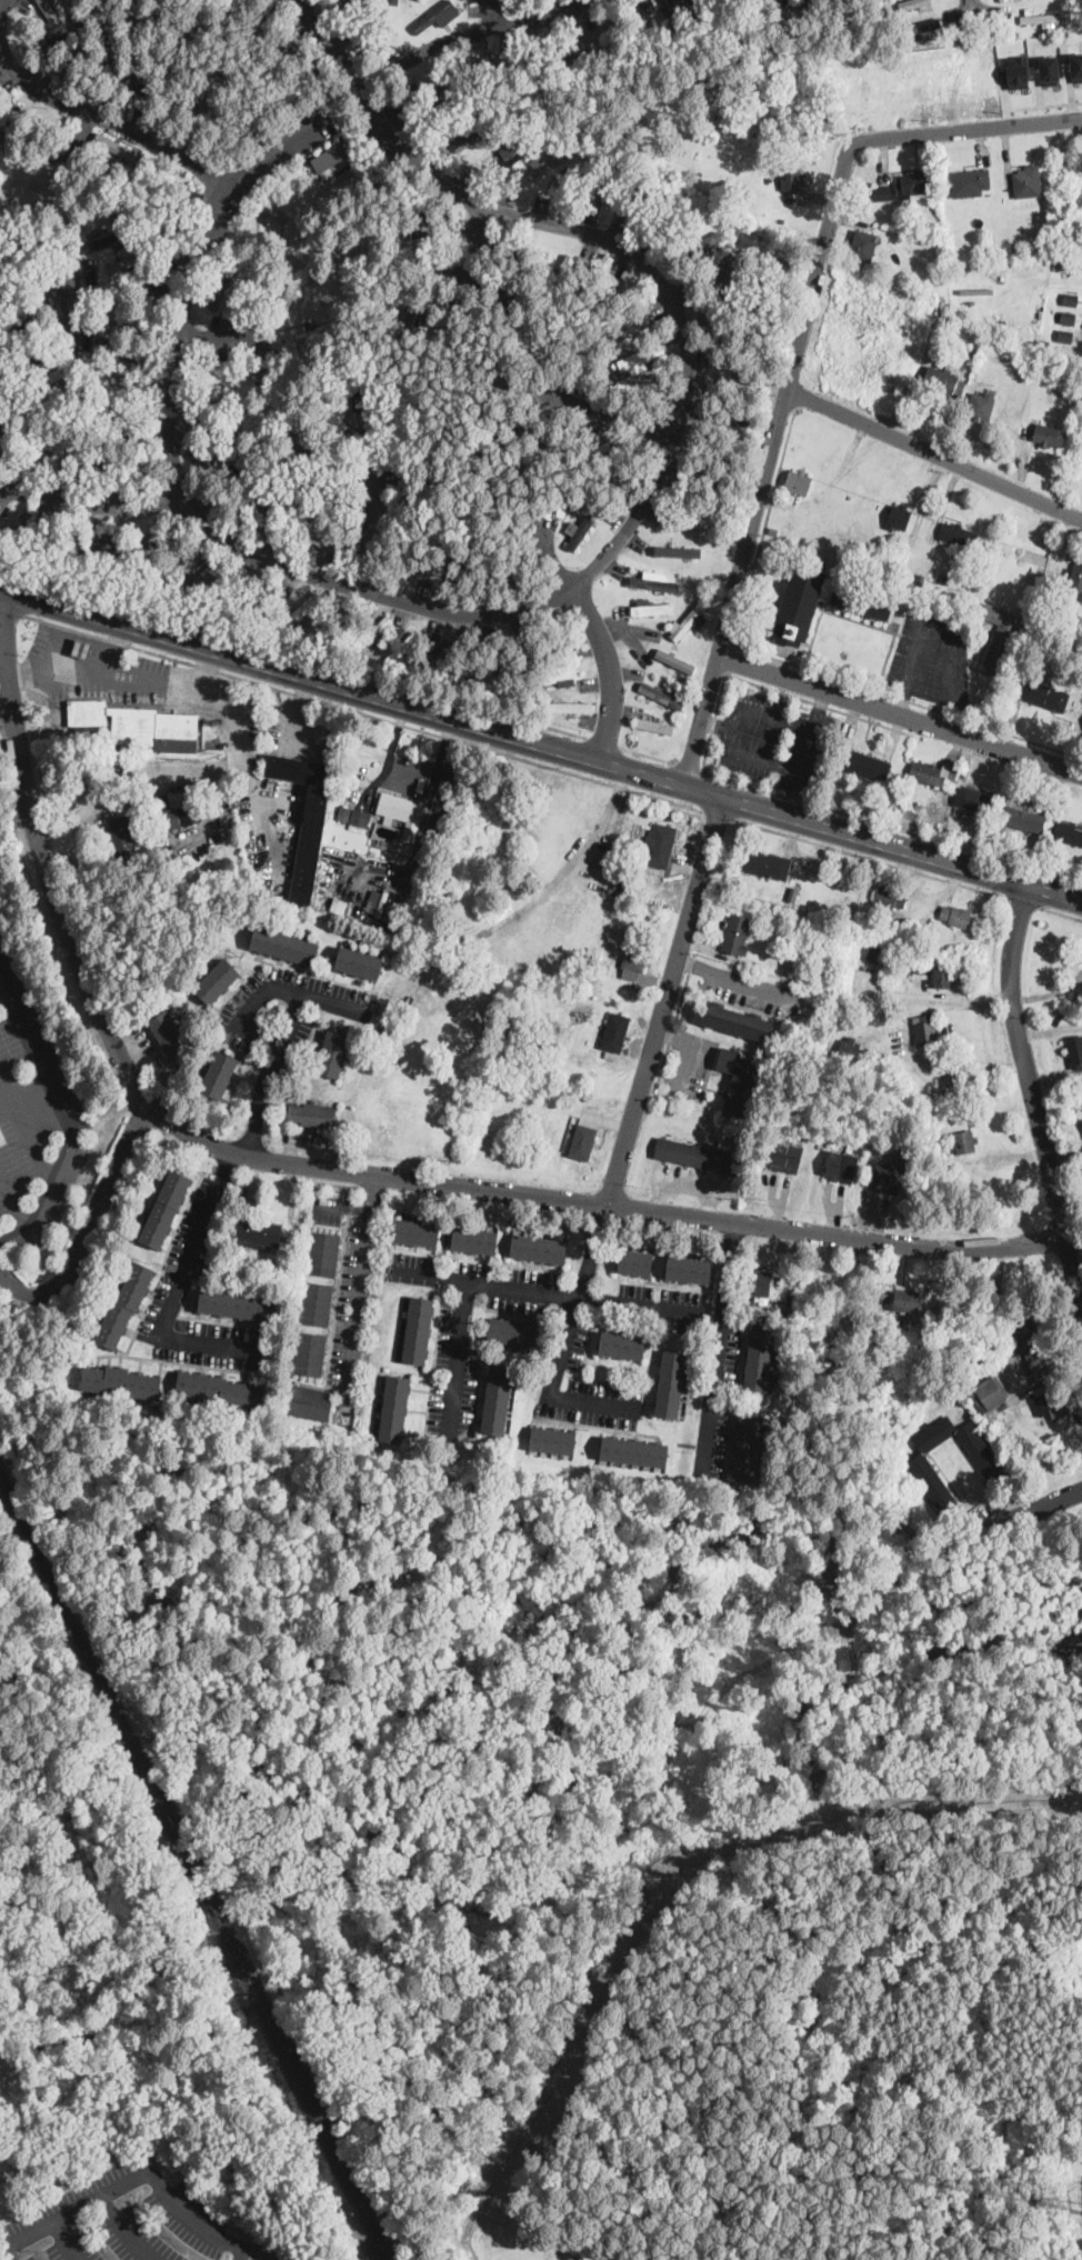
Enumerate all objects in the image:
building: (421, 0)
building: (1003, 0)
building: (731, 1)
building: (393, 2)
building: (912, 3)
road: (968, 3)
building: (701, 4)
building: (851, 6)
road: (675, 8)
building: (49, 9)
building: (78, 10)
building: (134, 12)
building: (102, 13)
road: (490, 13)
building: (162, 14)
building: (433, 16)
building: (200, 18)
building: (1040, 18)
building: (229, 20)
building: (818, 20)
building: (622, 21)
building: (749, 24)
building: (919, 28)
building: (813, 30)
road: (471, 31)
building: (777, 31)
road: (335, 32)
building: (365, 32)
building: (252, 34)
building: (47, 43)
building: (640, 48)
building: (683, 54)
building: (285, 56)
building: (578, 58)
building: (79, 62)
building: (529, 67)
building: (479, 68)
building: (144, 70)
building: (1015, 71)
building: (116, 73)
building: (177, 80)
building: (544, 82)
building: (424, 86)
building: (294, 88)
building: (202, 92)
building: (445, 109)
building: (17, 121)
building: (241, 122)
road: (109, 128)
road: (80, 130)
road: (969, 131)
building: (474, 137)
building: (6, 143)
building: (370, 143)
building: (118, 149)
building: (521, 150)
building: (332, 159)
building: (545, 163)
building: (113, 172)
building: (573, 173)
building: (790, 179)
building: (1026, 181)
building: (970, 182)
building: (612, 184)
building: (914, 184)
building: (883, 193)
building: (641, 198)
building: (743, 198)
building: (179, 204)
building: (425, 208)
building: (665, 211)
building: (19, 238)
building: (106, 241)
building: (419, 241)
building: (864, 246)
building: (697, 247)
road: (470, 249)
building: (525, 251)
building: (770, 257)
building: (123, 262)
building: (563, 268)
road: (652, 272)
building: (595, 273)
building: (507, 277)
building: (6, 280)
road: (701, 280)
building: (146, 290)
building: (219, 290)
building: (767, 290)
building: (976, 290)
building: (397, 294)
building: (250, 297)
building: (288, 298)
building: (1070, 299)
building: (610, 302)
building: (24, 303)
road: (73, 303)
building: (491, 309)
building: (739, 316)
building: (1068, 318)
building: (407, 319)
road: (91, 324)
building: (443, 324)
building: (712, 326)
building: (629, 328)
building: (319, 330)
building: (1065, 336)
road: (224, 337)
building: (552, 344)
building: (1004, 348)
building: (36, 356)
building: (640, 357)
building: (134, 367)
building: (584, 368)
building: (321, 369)
building: (63, 370)
building: (1059, 373)
building: (213, 378)
building: (737, 380)
building: (943, 381)
building: (497, 384)
building: (632, 388)
building: (118, 391)
building: (367, 398)
building: (980, 406)
building: (2, 409)
building: (208, 410)
building: (271, 410)
building: (331, 410)
building: (730, 418)
building: (402, 419)
road: (622, 420)
building: (118, 424)
building: (501, 429)
building: (8, 436)
building: (1048, 436)
building: (557, 438)
building: (216, 446)
building: (42, 449)
building: (605, 450)
road: (936, 451)
building: (719, 452)
building: (591, 454)
building: (74, 456)
building: (320, 456)
building: (127, 463)
building: (415, 463)
building: (624, 464)
road: (769, 464)
road: (177, 467)
building: (547, 469)
building: (229, 470)
building: (717, 478)
building: (531, 482)
building: (799, 482)
building: (497, 484)
building: (320, 489)
building: (421, 497)
building: (561, 499)
road: (88, 500)
building: (247, 501)
building: (275, 510)
building: (478, 513)
building: (900, 518)
building: (684, 522)
building: (19, 523)
building: (320, 526)
road: (365, 526)
building: (584, 527)
building: (772, 530)
building: (68, 534)
building: (417, 534)
building: (959, 536)
building: (97, 544)
building: (141, 546)
building: (314, 552)
building: (674, 552)
road: (547, 553)
building: (462, 559)
building: (519, 561)
building: (492, 566)
building: (177, 568)
building: (411, 568)
building: (1076, 579)
building: (921, 580)
building: (942, 580)
building: (200, 581)
building: (654, 583)
building: (230, 587)
building: (263, 599)
building: (650, 608)
building: (870, 609)
road: (12, 610)
building: (299, 612)
road: (944, 617)
building: (1062, 619)
building: (689, 622)
building: (331, 623)
building: (377, 633)
building: (1002, 636)
building: (553, 640)
building: (83, 649)
building: (401, 649)
road: (292, 651)
building: (433, 656)
road: (730, 658)
building: (675, 660)
building: (467, 661)
building: (505, 661)
road: (793, 662)
road: (109, 670)
road: (609, 671)
building: (1073, 672)
building: (558, 677)
building: (1046, 696)
building: (660, 698)
road: (8, 704)
building: (564, 707)
road: (362, 711)
road: (299, 713)
road: (900, 713)
road: (713, 723)
building: (653, 724)
building: (138, 726)
road: (237, 729)
road: (725, 729)
road: (601, 739)
road: (540, 743)
road: (648, 752)
road: (807, 752)
road: (689, 762)
building: (868, 766)
building: (930, 773)
road: (751, 784)
building: (974, 800)
building: (402, 808)
building: (168, 812)
building: (911, 812)
road: (718, 813)
building: (357, 816)
building: (1024, 820)
building: (304, 823)
building: (407, 831)
building: (1069, 833)
building: (122, 837)
building: (991, 838)
building: (661, 846)
road: (872, 857)
building: (767, 863)
building: (624, 887)
building: (793, 894)
building: (892, 898)
road: (1024, 901)
building: (393, 908)
road: (1061, 911)
building: (955, 916)
building: (737, 934)
building: (285, 947)
building: (797, 947)
building: (872, 951)
building: (635, 959)
building: (360, 964)
building: (921, 967)
building: (794, 973)
building: (943, 978)
building: (218, 981)
road: (246, 1009)
building: (732, 1019)
road: (1050, 1028)
building: (925, 1031)
building: (169, 1034)
building: (615, 1036)
road: (277, 1038)
building: (850, 1049)
building: (1075, 1051)
building: (334, 1054)
road: (1056, 1063)
building: (219, 1076)
building: (737, 1081)
building: (954, 1083)
road: (1031, 1097)
building: (312, 1116)
road: (68, 1121)
road: (27, 1130)
road: (628, 1130)
building: (583, 1142)
building: (966, 1142)
building: (928, 1146)
building: (695, 1156)
building: (787, 1156)
building: (841, 1166)
road: (332, 1169)
building: (886, 1178)
road: (12, 1203)
building: (166, 1209)
road: (88, 1227)
building: (257, 1233)
building: (417, 1233)
building: (475, 1241)
building: (540, 1250)
building: (322, 1253)
building: (637, 1263)
building: (690, 1270)
building: (758, 1282)
road: (508, 1284)
road: (936, 1288)
road: (177, 1293)
road: (357, 1296)
building: (908, 1299)
building: (792, 1302)
building: (315, 1303)
building: (238, 1304)
building: (126, 1306)
building: (417, 1330)
building: (515, 1332)
road: (723, 1339)
building: (622, 1344)
building: (898, 1348)
building: (1034, 1349)
building: (308, 1353)
building: (759, 1357)
building: (122, 1382)
building: (672, 1384)
building: (222, 1390)
building: (988, 1393)
building: (495, 1401)
building: (310, 1402)
building: (1051, 1402)
building: (394, 1409)
building: (552, 1441)
building: (745, 1448)
building: (633, 1453)
building: (989, 1467)
road: (965, 1539)
railway: (191, 1863)
road: (661, 1911)
road: (128, 2174)
parking lot: (123, 2220)
road: (128, 2227)
road: (64, 2238)
road: (3, 2241)
railway: (387, 2256)
railway: (387, 2256)

